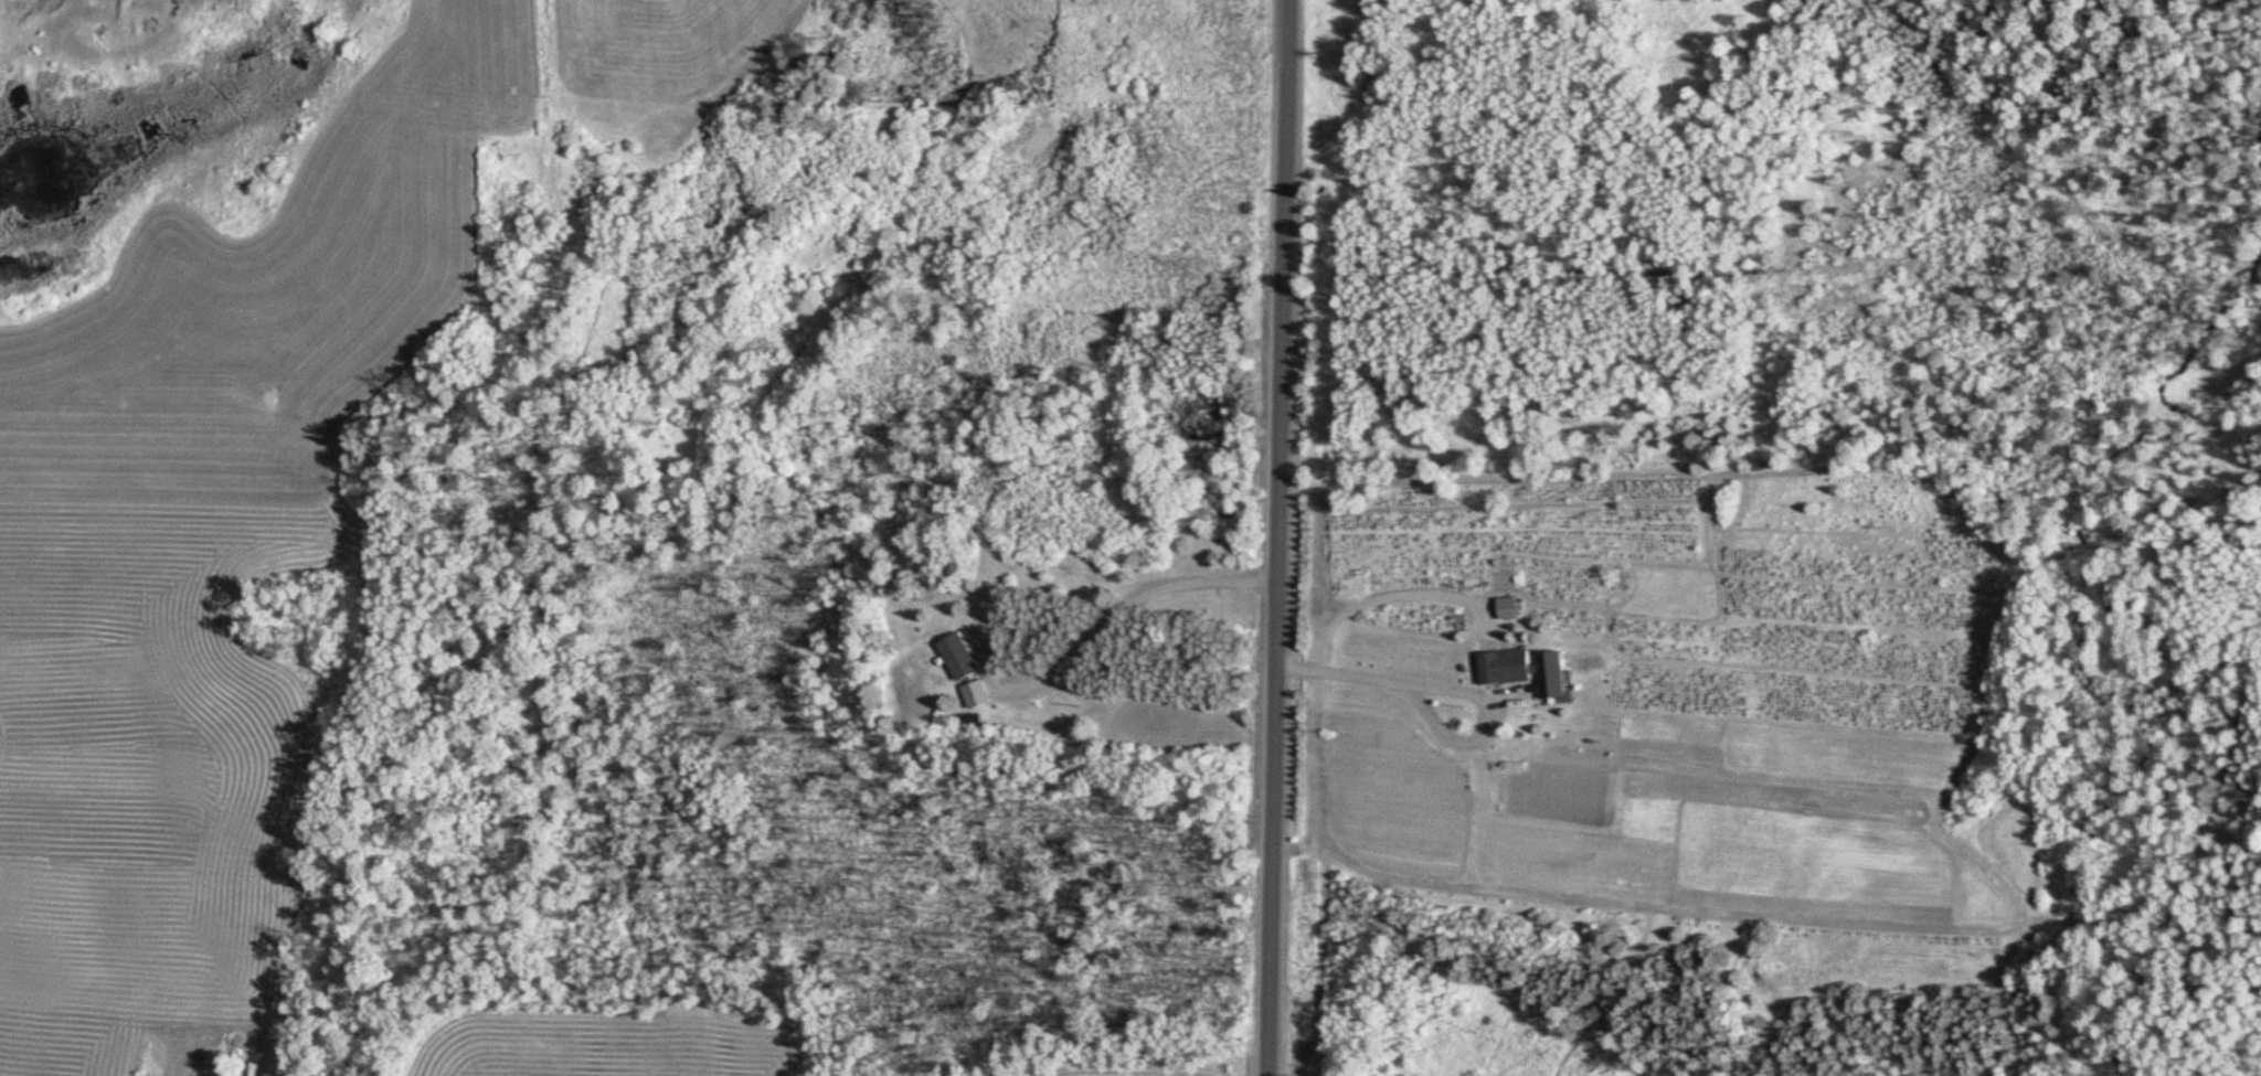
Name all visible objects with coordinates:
road: (1280, 537)
building: (963, 658)
building: (1529, 669)
road: (935, 675)

